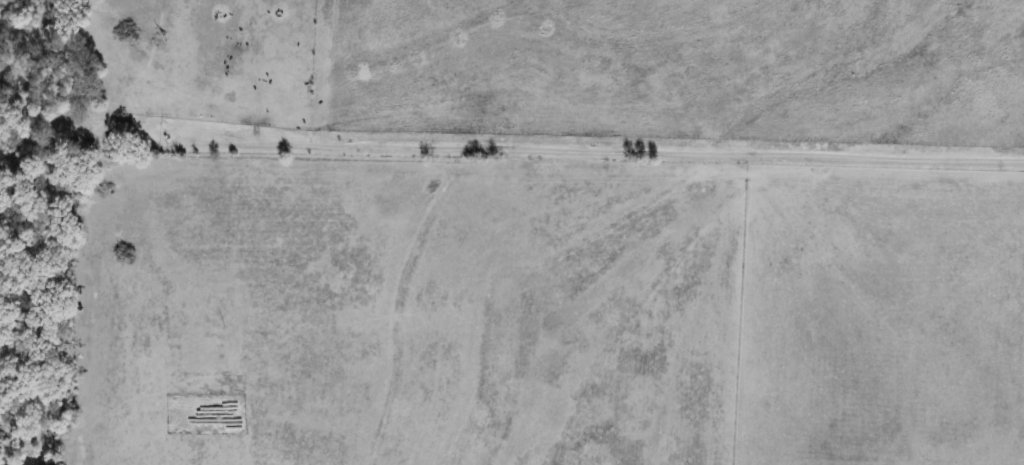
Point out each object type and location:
road: (594, 149)

